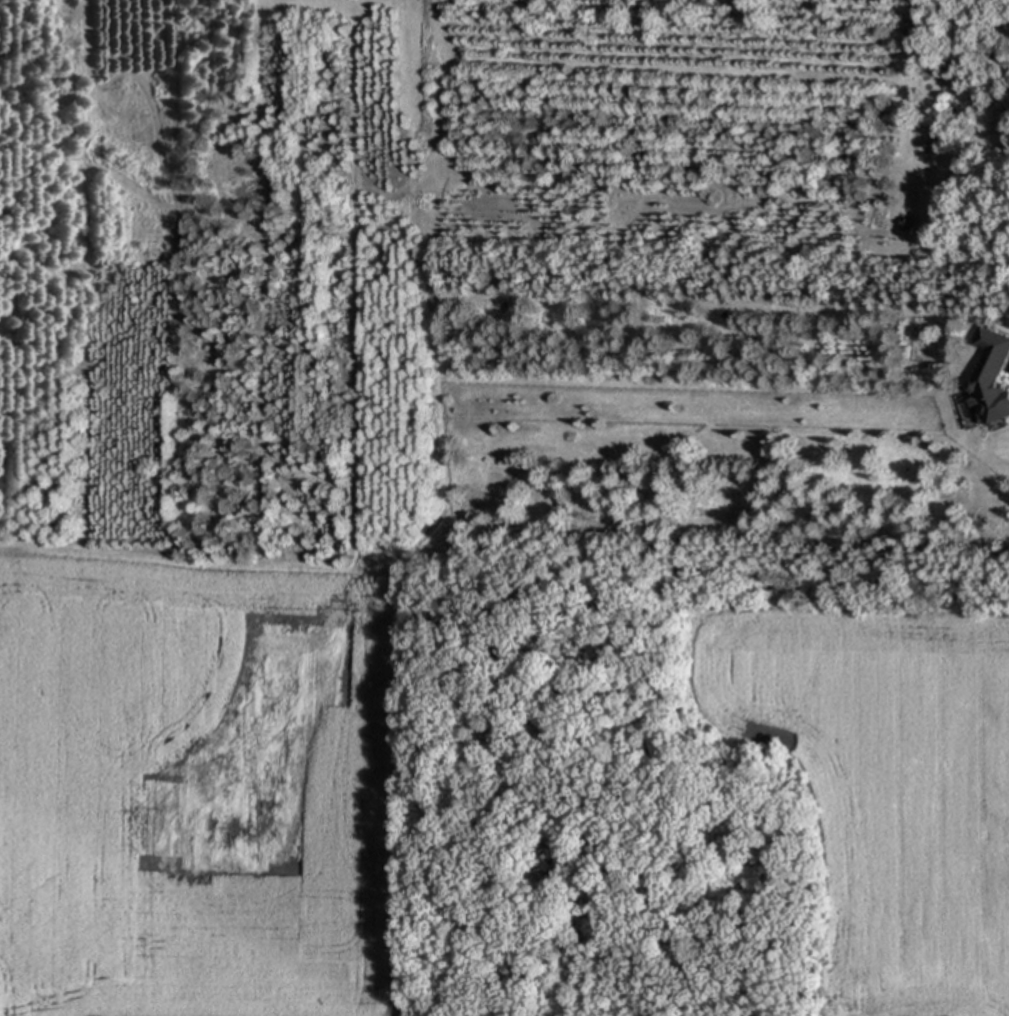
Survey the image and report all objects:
building: (991, 374)

